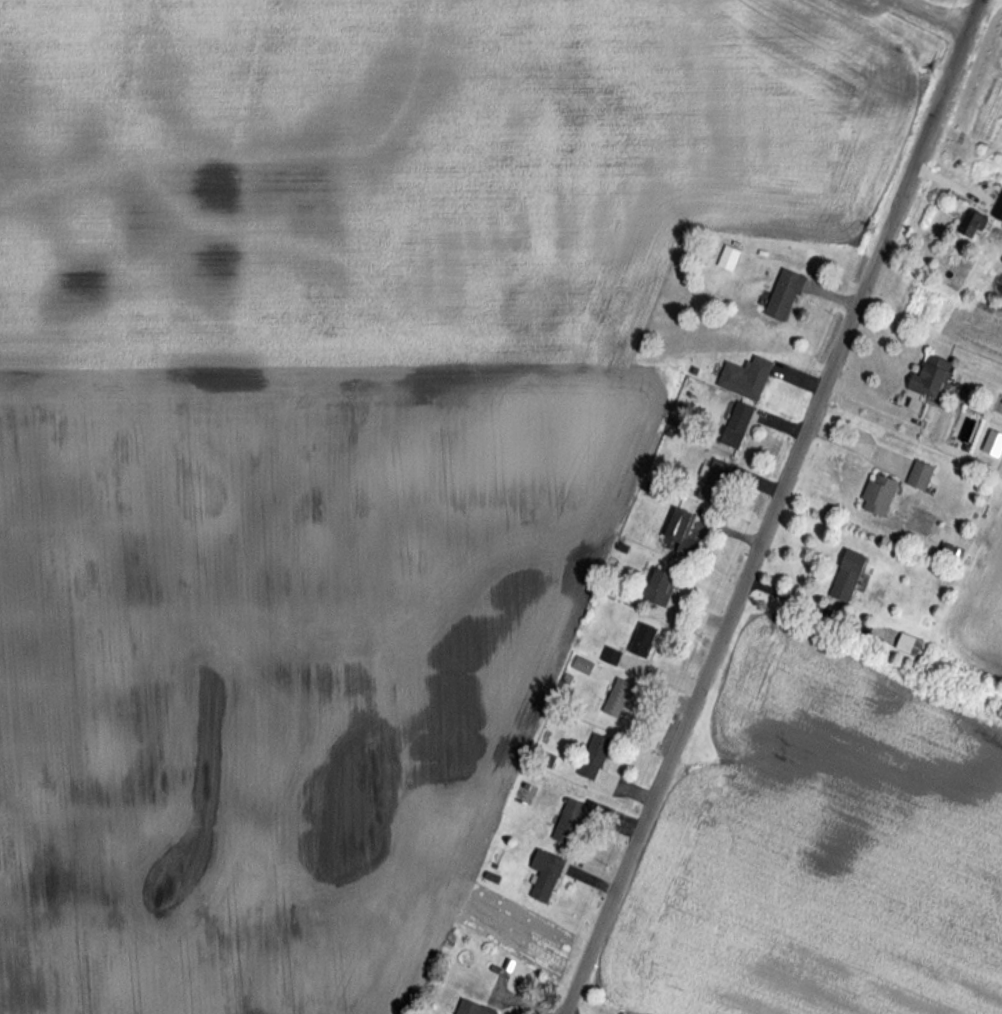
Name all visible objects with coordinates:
road: (887, 0)
road: (926, 16)
building: (996, 210)
building: (969, 225)
building: (726, 258)
building: (781, 295)
building: (926, 375)
building: (743, 378)
building: (733, 425)
building: (918, 475)
building: (711, 481)
building: (876, 495)
road: (772, 506)
building: (676, 525)
building: (844, 576)
building: (657, 587)
building: (640, 641)
building: (905, 644)
building: (617, 697)
building: (591, 758)
building: (566, 822)
building: (542, 875)

